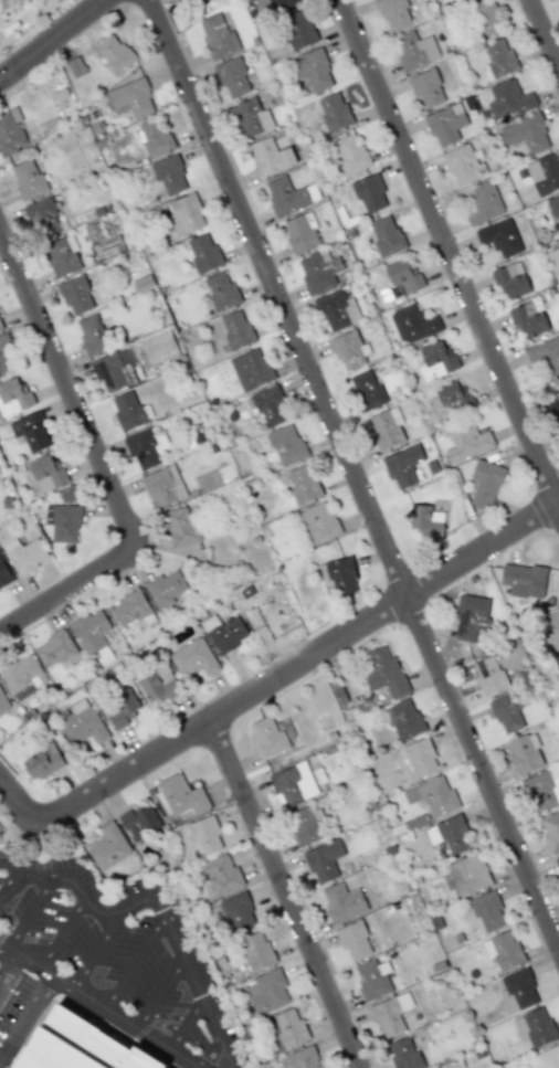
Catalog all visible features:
building: (183, 0)
building: (273, 6)
building: (393, 13)
building: (485, 18)
building: (298, 29)
road: (544, 34)
building: (218, 35)
road: (54, 42)
building: (414, 50)
building: (114, 54)
building: (498, 60)
building: (76, 66)
building: (315, 72)
building: (232, 77)
building: (426, 87)
building: (130, 97)
building: (509, 99)
building: (334, 112)
building: (251, 117)
building: (445, 124)
building: (10, 131)
building: (526, 134)
building: (152, 137)
building: (350, 154)
building: (271, 156)
building: (462, 165)
building: (544, 173)
building: (169, 175)
building: (28, 179)
building: (369, 193)
building: (285, 195)
building: (483, 203)
building: (553, 208)
power tower: (156, 211)
building: (184, 214)
building: (42, 218)
building: (92, 232)
building: (300, 233)
building: (383, 237)
building: (499, 237)
building: (105, 247)
road: (446, 252)
building: (202, 253)
building: (62, 255)
building: (318, 272)
building: (403, 276)
building: (510, 279)
building: (220, 290)
building: (75, 295)
building: (337, 310)
building: (528, 319)
building: (413, 324)
building: (0, 327)
building: (236, 329)
building: (92, 335)
building: (157, 349)
building: (348, 349)
building: (545, 356)
building: (4, 358)
building: (436, 360)
building: (112, 369)
building: (251, 369)
building: (367, 389)
building: (13, 395)
building: (450, 400)
building: (267, 405)
building: (553, 408)
building: (127, 410)
building: (386, 427)
building: (30, 431)
building: (466, 441)
building: (285, 445)
building: (144, 447)
road: (98, 464)
building: (402, 466)
building: (45, 473)
road: (351, 473)
building: (485, 483)
building: (303, 484)
building: (164, 486)
building: (67, 495)
building: (425, 520)
building: (63, 522)
building: (317, 522)
building: (180, 526)
building: (24, 554)
building: (3, 573)
building: (338, 575)
building: (524, 580)
building: (166, 588)
building: (130, 609)
building: (471, 617)
building: (550, 630)
building: (92, 634)
building: (226, 634)
building: (54, 648)
building: (192, 657)
building: (558, 660)
road: (297, 663)
building: (384, 672)
building: (488, 675)
building: (22, 676)
building: (158, 684)
building: (3, 702)
building: (120, 709)
power tower: (370, 711)
building: (507, 713)
building: (403, 719)
building: (82, 723)
building: (267, 737)
building: (525, 753)
building: (419, 758)
building: (43, 762)
building: (294, 783)
building: (542, 791)
building: (181, 796)
building: (432, 796)
road: (18, 807)
building: (140, 822)
building: (306, 825)
building: (550, 831)
building: (450, 834)
building: (204, 835)
building: (107, 847)
building: (324, 860)
building: (558, 860)
road: (14, 870)
building: (221, 873)
building: (468, 875)
road: (9, 886)
road: (287, 892)
building: (341, 902)
building: (486, 911)
road: (29, 912)
building: (239, 912)
road: (166, 919)
road: (61, 931)
building: (354, 939)
road: (3, 947)
road: (96, 949)
building: (503, 950)
building: (256, 951)
road: (134, 962)
road: (9, 966)
building: (372, 979)
building: (518, 990)
building: (266, 992)
road: (160, 993)
road: (98, 1005)
building: (391, 1014)
road: (25, 1016)
road: (187, 1024)
building: (534, 1027)
building: (286, 1029)
road: (213, 1036)
building: (77, 1046)
building: (403, 1054)
building: (548, 1057)
building: (300, 1059)

